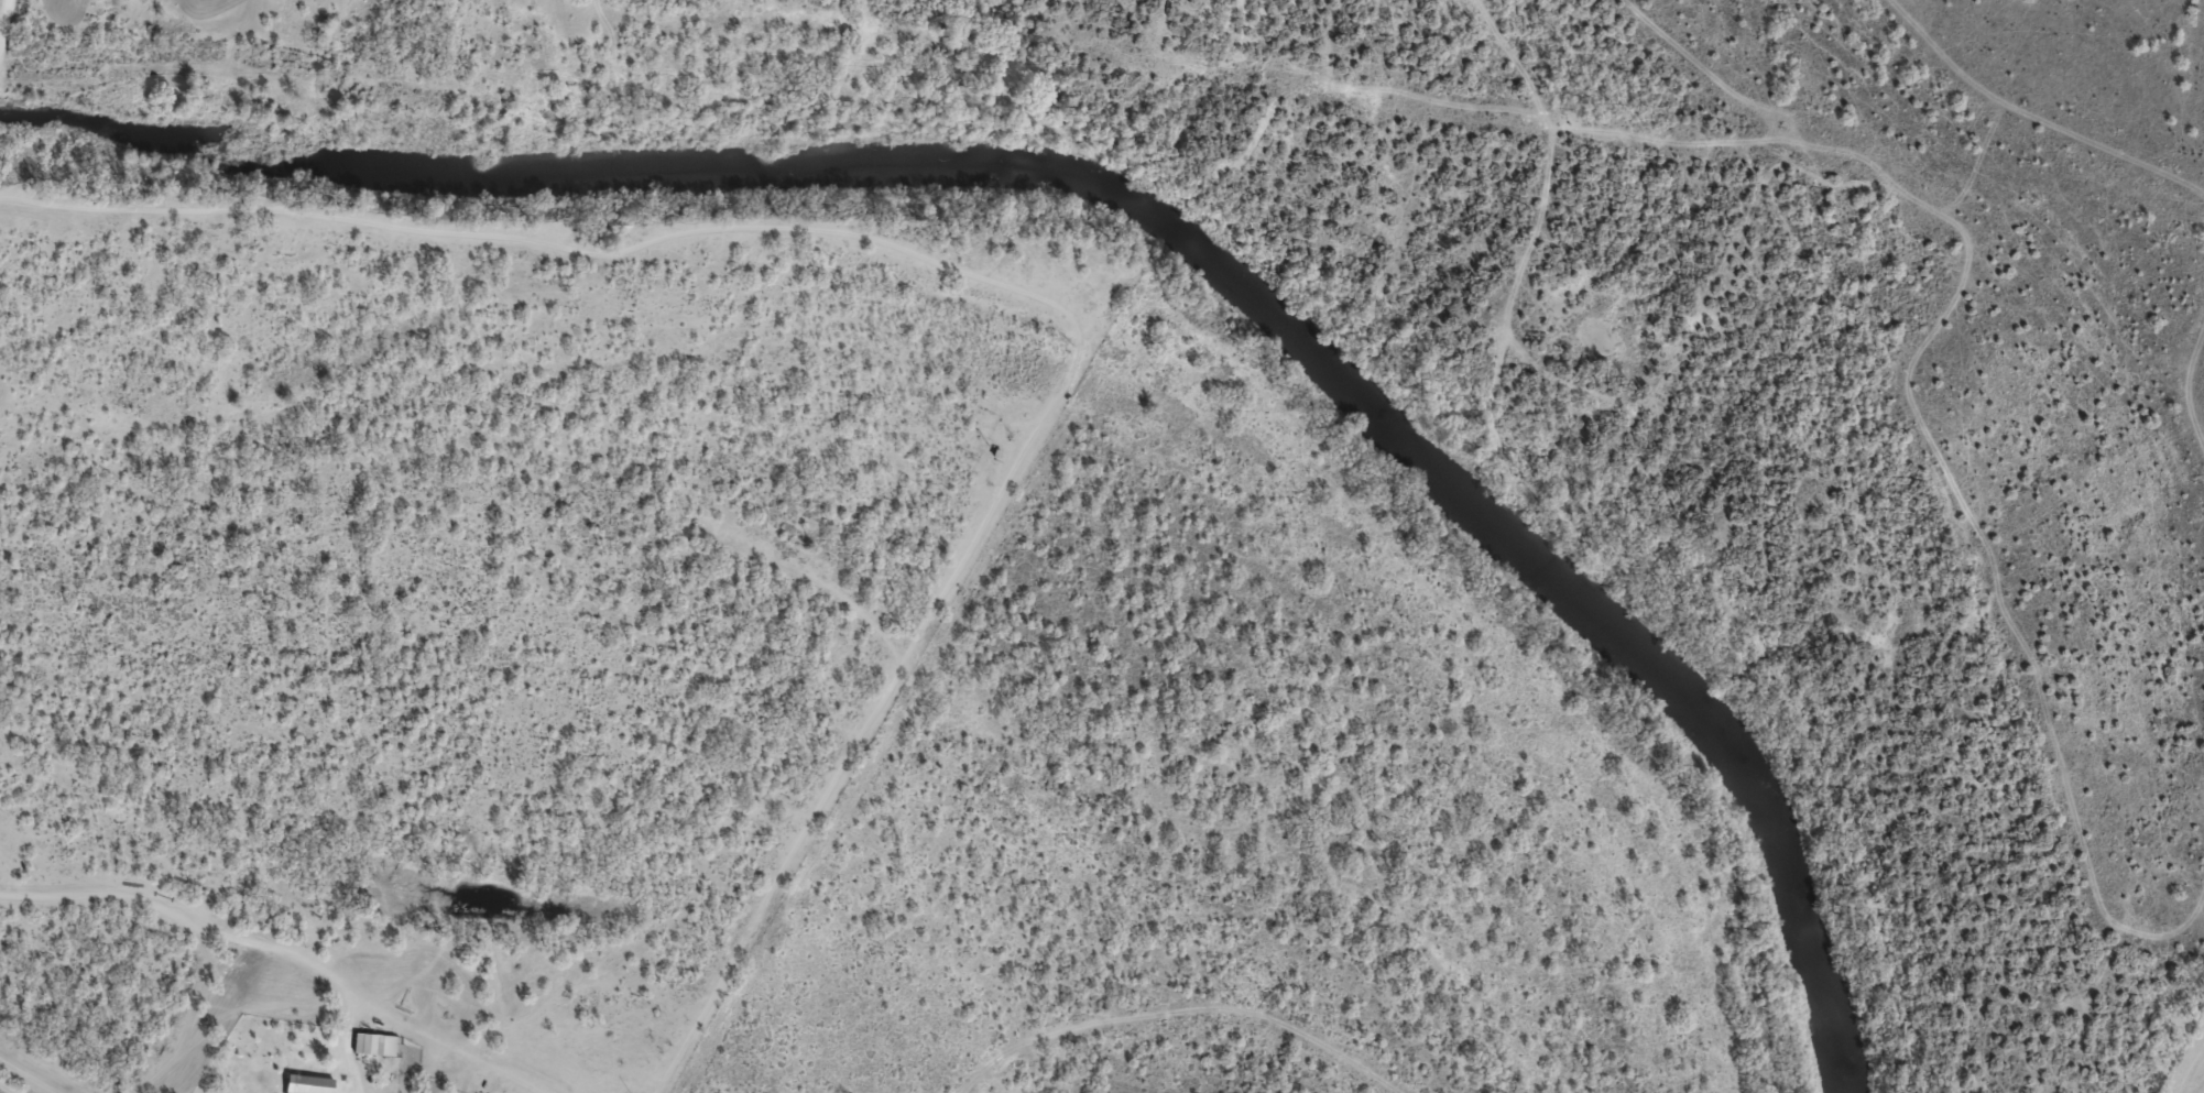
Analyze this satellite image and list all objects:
river: (1144, 217)
road: (1876, 533)
building: (379, 1043)
building: (313, 1084)

